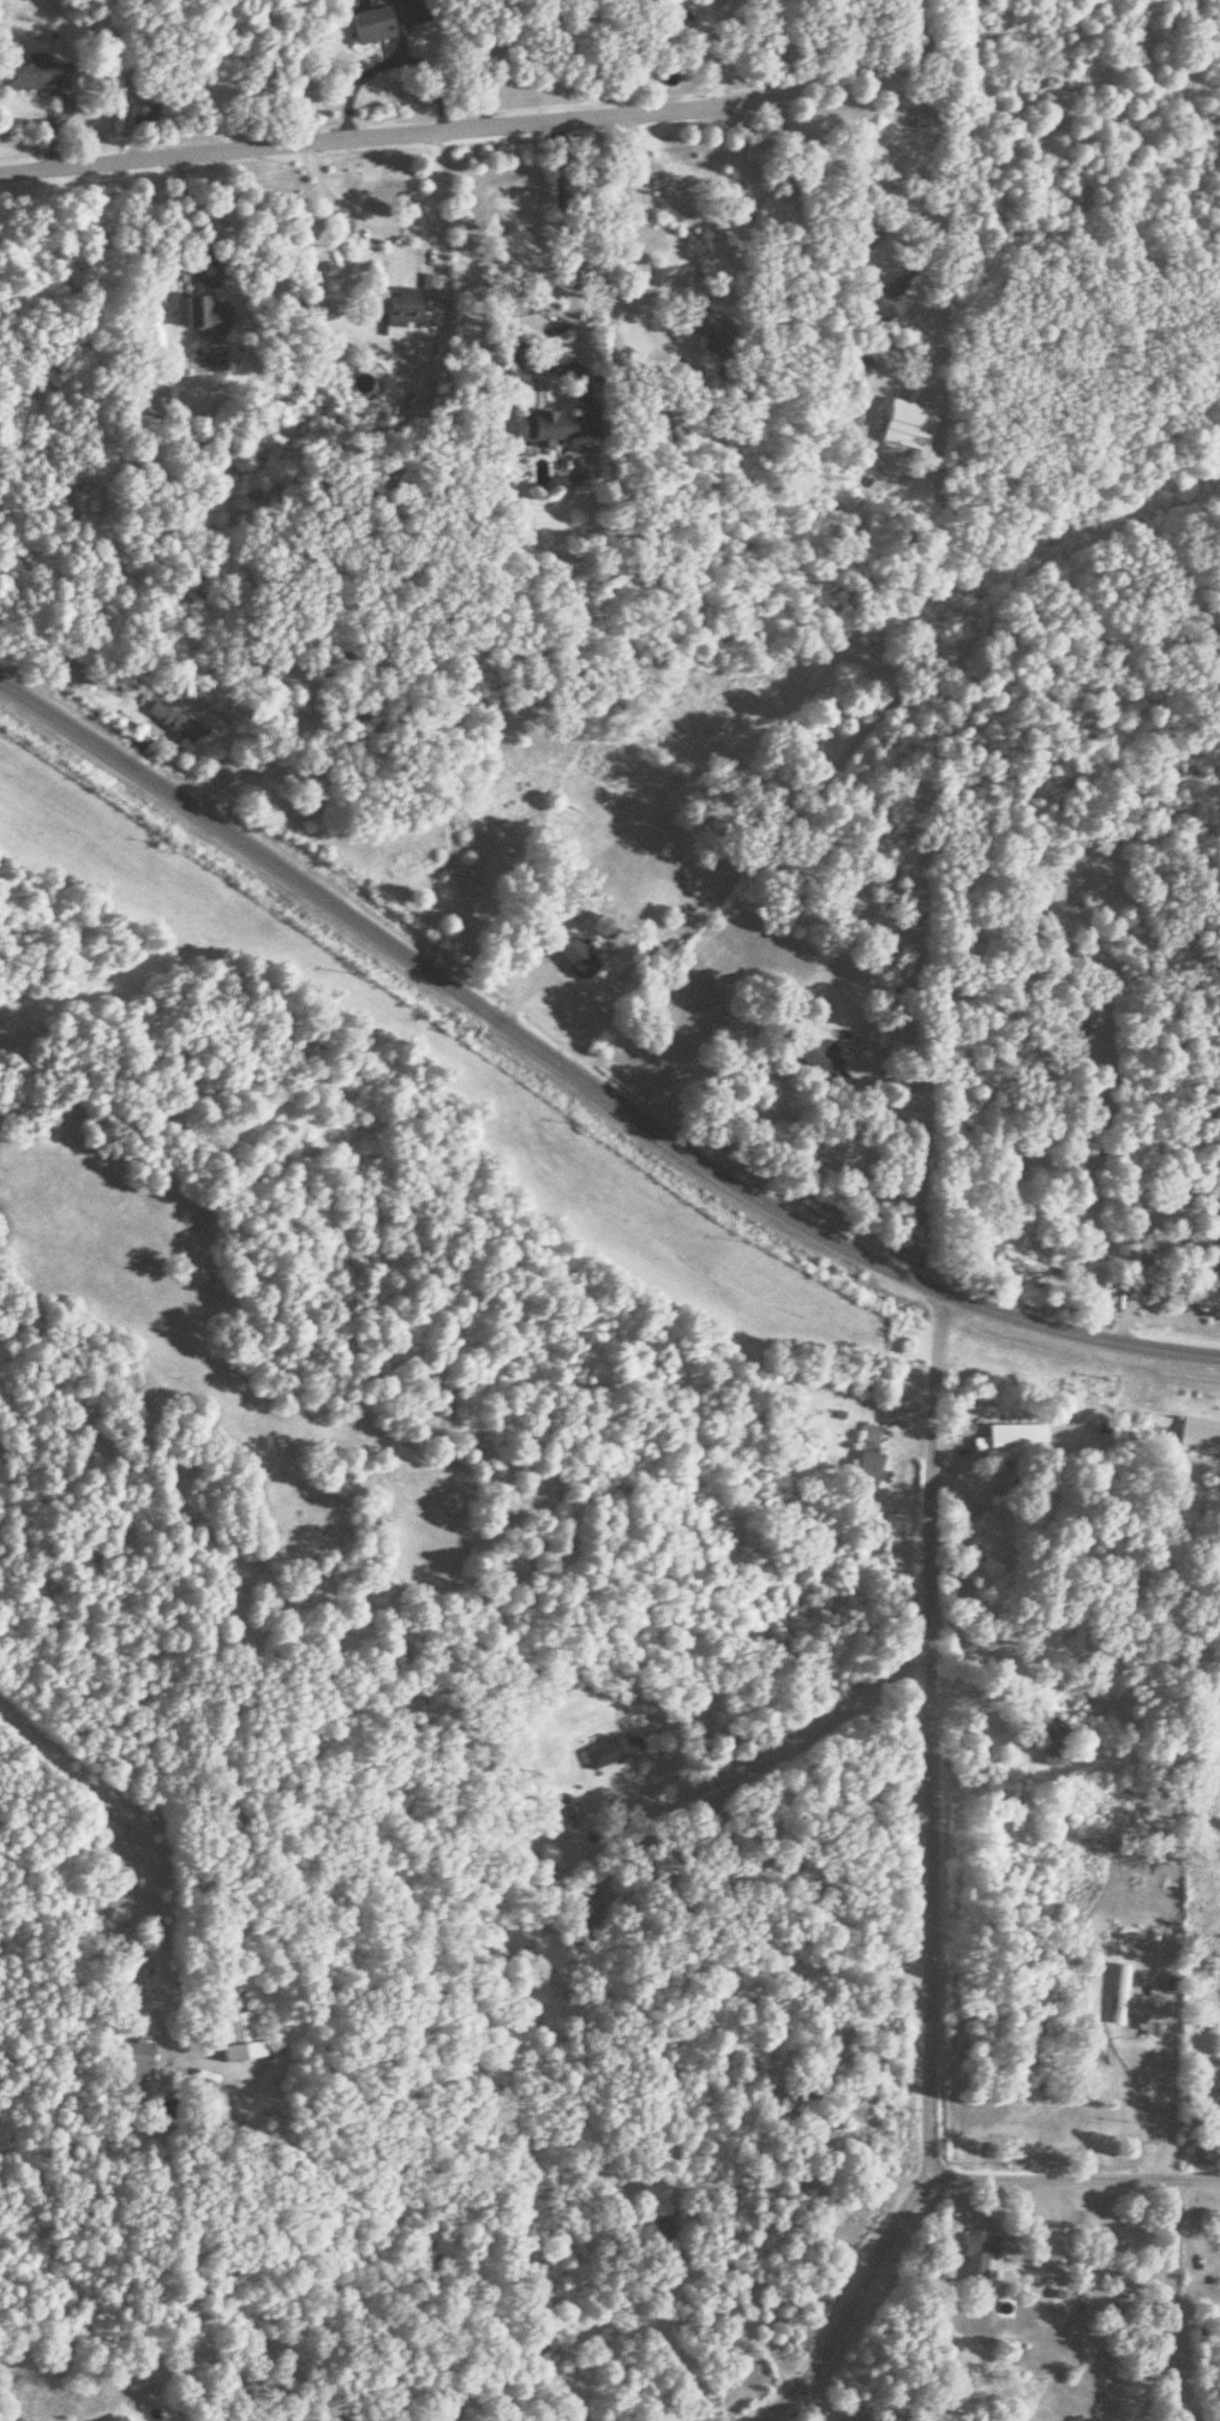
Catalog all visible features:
building: (365, 20)
road: (812, 44)
road: (489, 64)
building: (37, 71)
building: (143, 112)
road: (772, 115)
road: (352, 138)
road: (837, 207)
road: (432, 211)
road: (629, 233)
road: (181, 258)
building: (426, 279)
road: (573, 279)
building: (885, 292)
building: (197, 307)
building: (394, 310)
building: (712, 334)
building: (902, 420)
building: (540, 423)
building: (172, 717)
building: (575, 952)
building: (872, 1048)
building: (813, 1050)
road: (581, 1081)
road: (909, 1161)
building: (1164, 1429)
building: (1017, 1442)
building: (867, 1461)
building: (1052, 1746)
building: (610, 1751)
road: (770, 1756)
road: (130, 1834)
road: (927, 1885)
building: (580, 1902)
building: (1119, 1995)
road: (869, 2020)
building: (234, 2036)
building: (131, 2067)
road: (1172, 2078)
building: (799, 2100)
building: (1214, 2118)
road: (1070, 2181)
building: (662, 2230)
building: (1055, 2247)
building: (976, 2258)
building: (1214, 2261)
road: (744, 2324)
building: (115, 2420)

